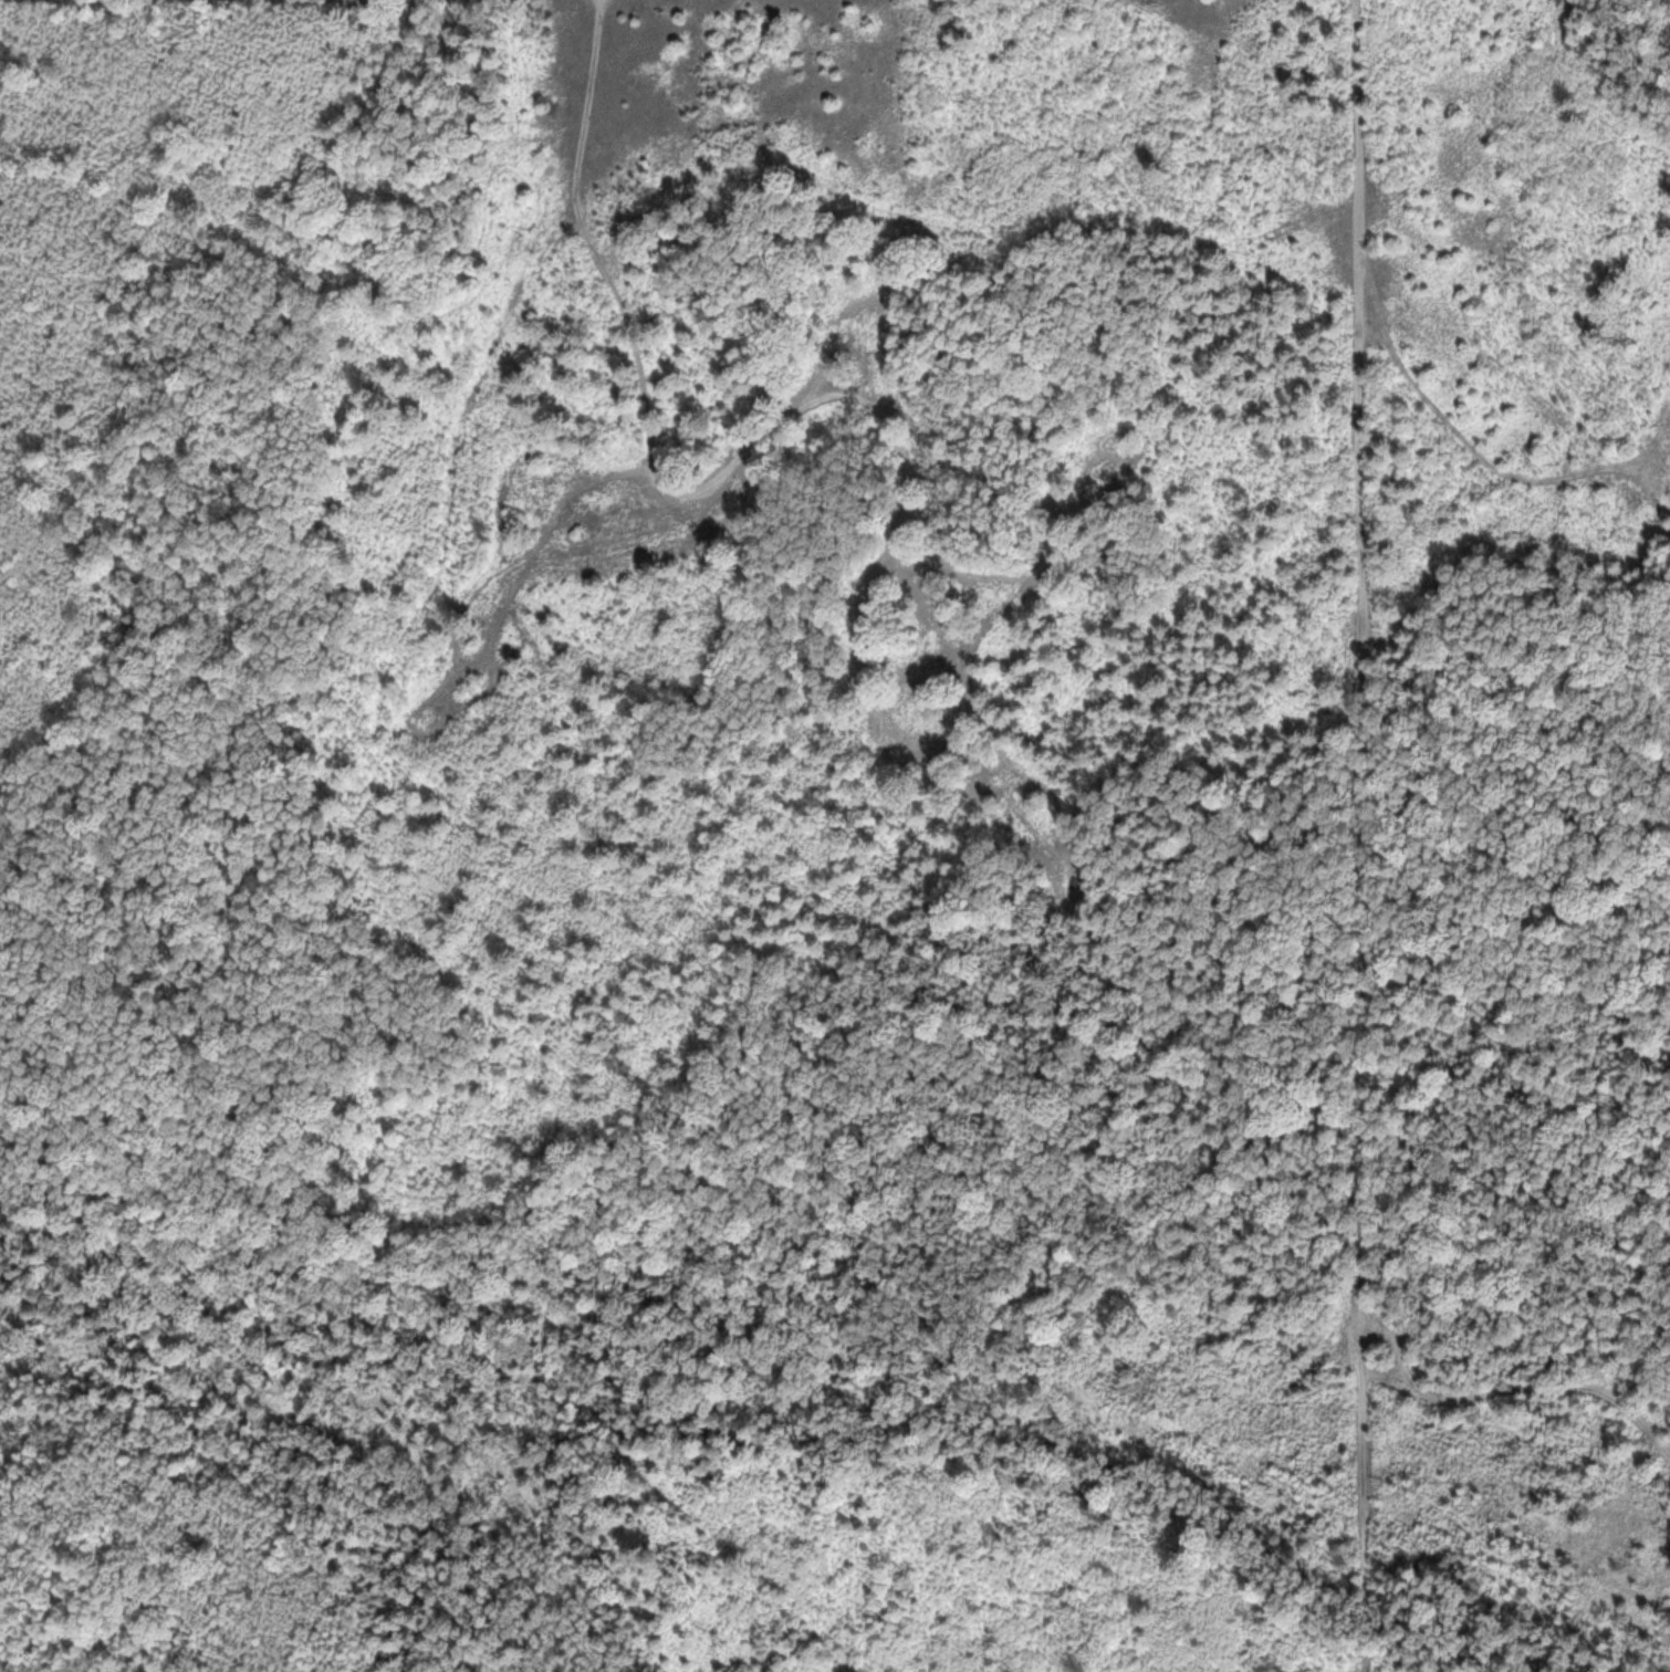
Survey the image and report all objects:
road: (1360, 655)
road: (1354, 1341)
road: (1398, 1350)
road: (1539, 1389)
road: (1365, 1471)
road: (1367, 1619)

